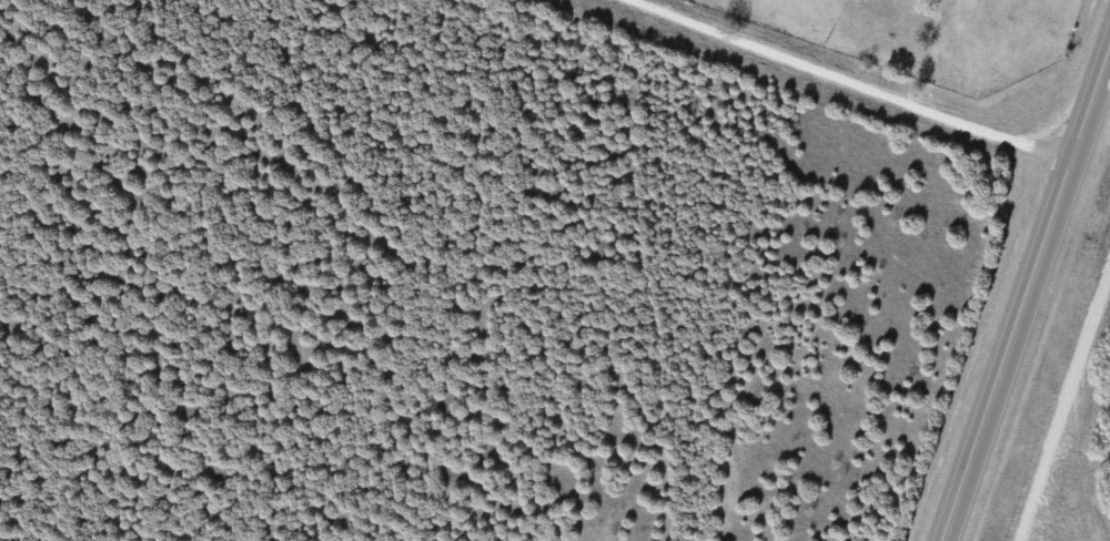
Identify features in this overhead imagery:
road: (851, 80)
road: (1025, 293)

